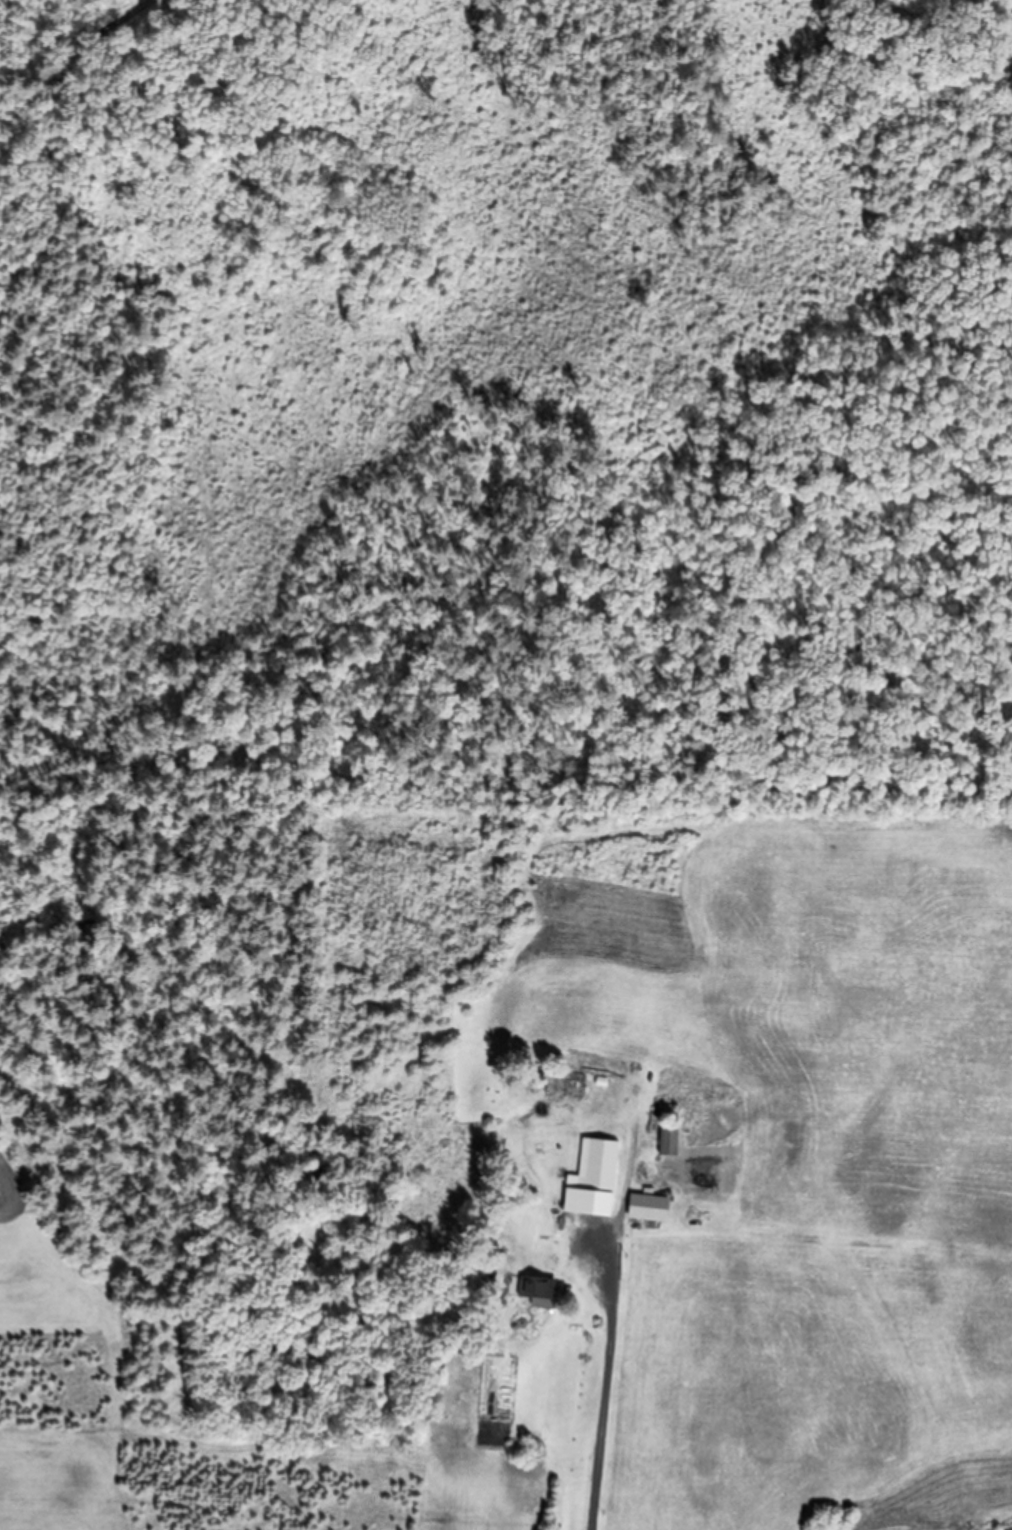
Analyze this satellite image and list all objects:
building: (561, 1080)
building: (668, 1138)
building: (593, 1180)
building: (533, 1285)
road: (606, 1338)

